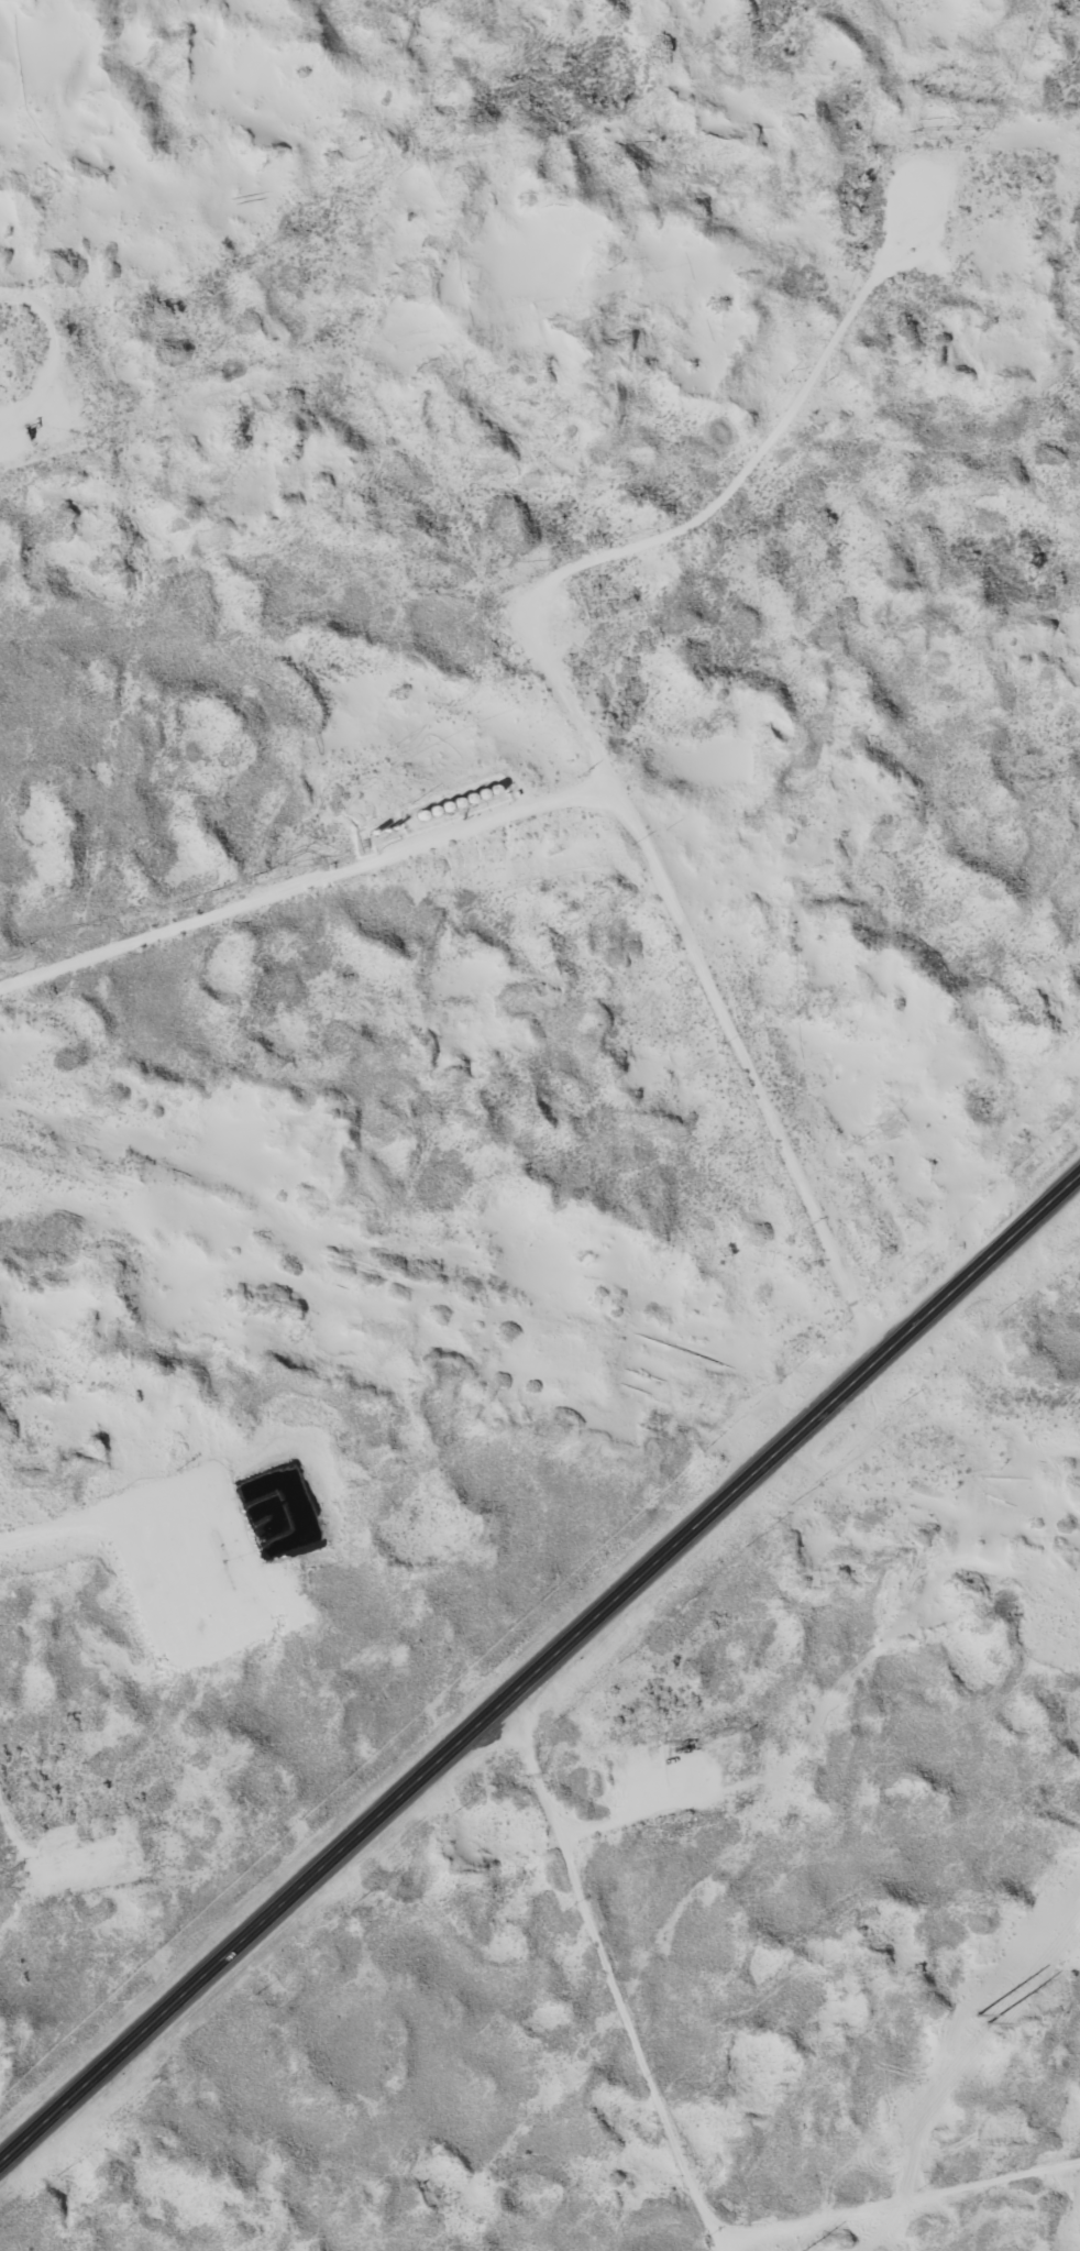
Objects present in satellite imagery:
road: (593, 727)
road: (539, 1672)
power tower: (996, 2035)

